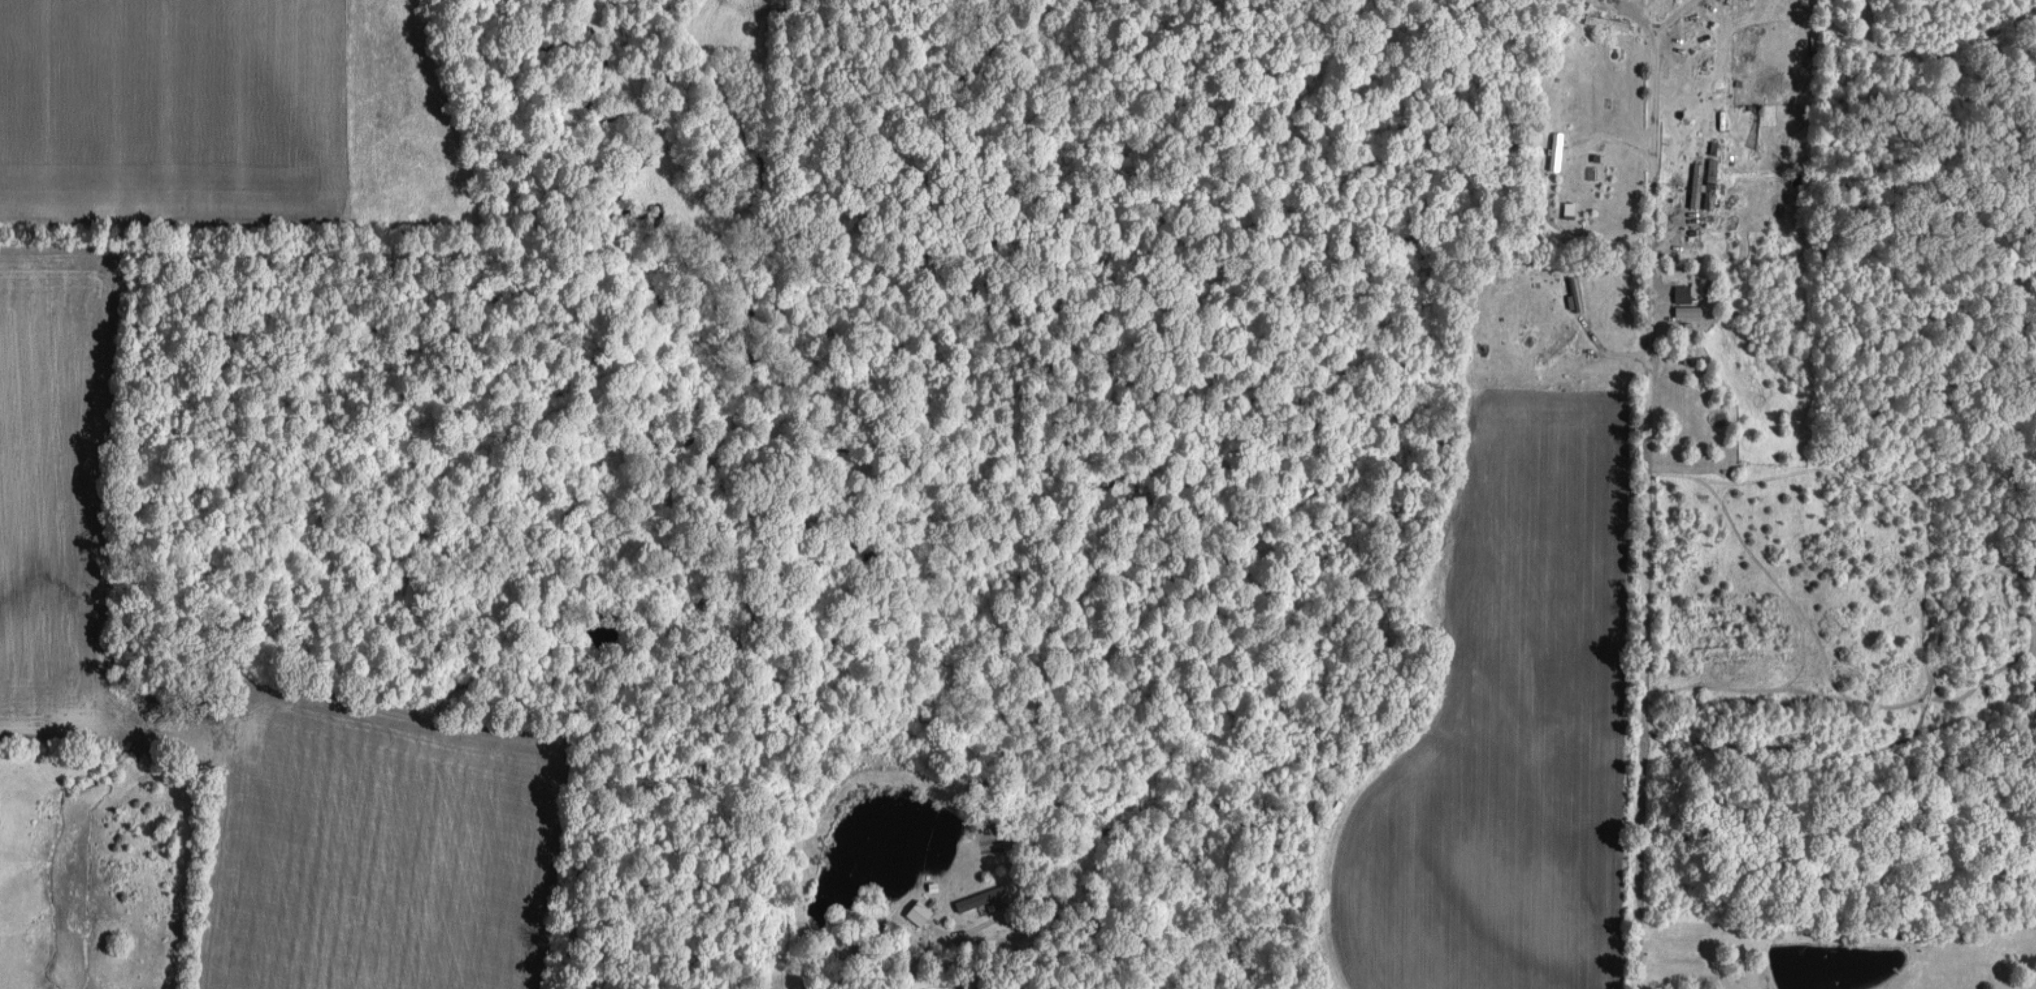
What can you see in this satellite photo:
building: (1556, 150)
building: (1714, 169)
building: (1572, 207)
building: (1689, 291)
building: (1560, 342)
road: (1648, 492)
building: (983, 897)
building: (922, 912)
road: (915, 965)

